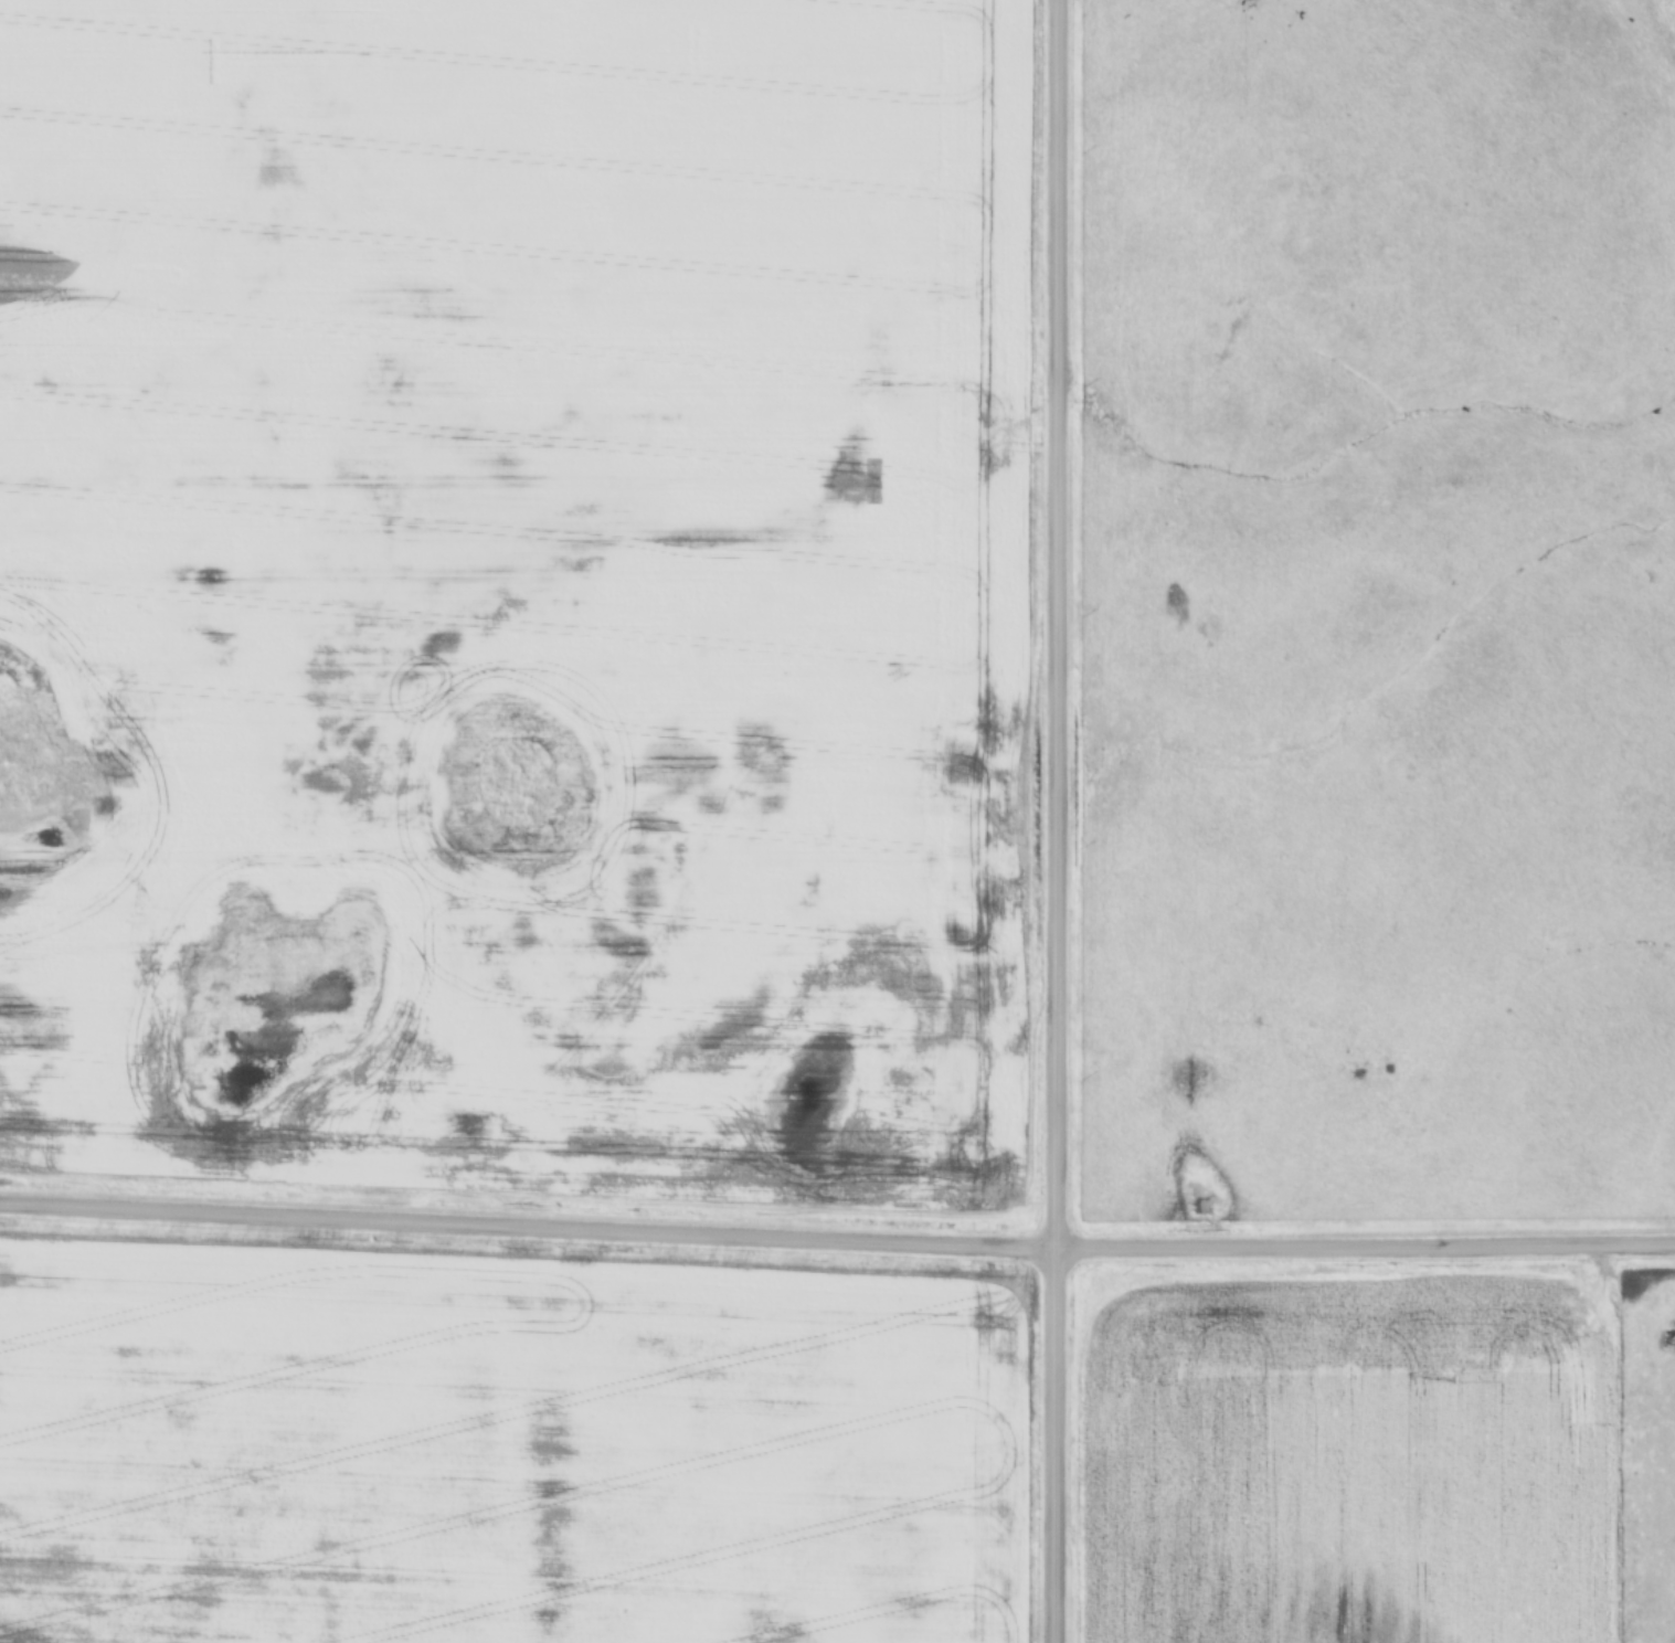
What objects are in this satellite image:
road: (1057, 821)
road: (837, 1237)

